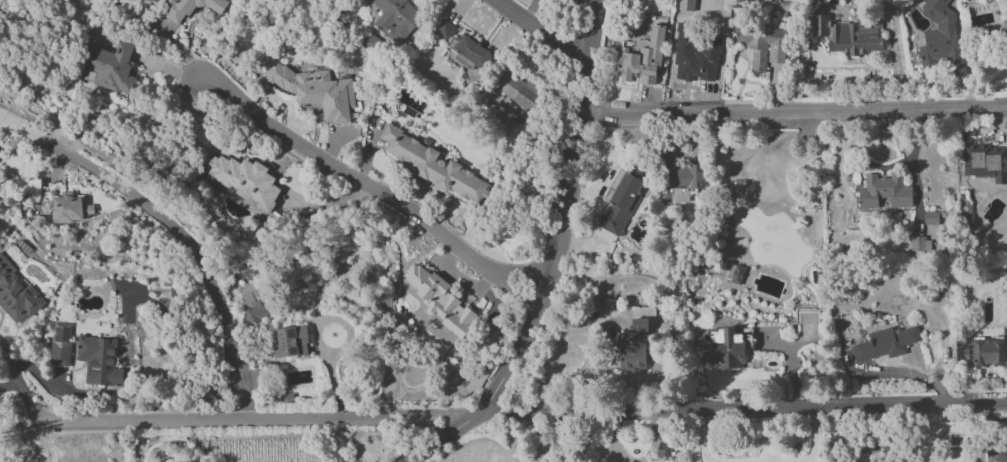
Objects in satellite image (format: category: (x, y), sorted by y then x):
building: (558, 1)
building: (686, 5)
building: (889, 5)
building: (189, 8)
building: (396, 19)
building: (1004, 26)
building: (444, 30)
road: (541, 32)
building: (847, 36)
building: (941, 39)
building: (762, 45)
building: (472, 51)
building: (695, 54)
building: (642, 61)
building: (109, 68)
building: (315, 90)
building: (519, 94)
road: (792, 108)
building: (986, 161)
building: (433, 167)
building: (680, 173)
building: (244, 180)
road: (372, 187)
building: (884, 192)
building: (620, 199)
building: (71, 208)
building: (930, 218)
road: (171, 232)
building: (919, 244)
road: (555, 256)
building: (734, 273)
building: (304, 281)
building: (16, 295)
building: (440, 300)
building: (254, 306)
road: (315, 333)
building: (289, 341)
building: (886, 343)
building: (60, 344)
building: (633, 347)
building: (729, 348)
building: (989, 352)
building: (99, 360)
road: (19, 391)
road: (503, 413)
road: (700, 437)
road: (613, 438)
road: (813, 438)
road: (657, 439)
building: (996, 456)

